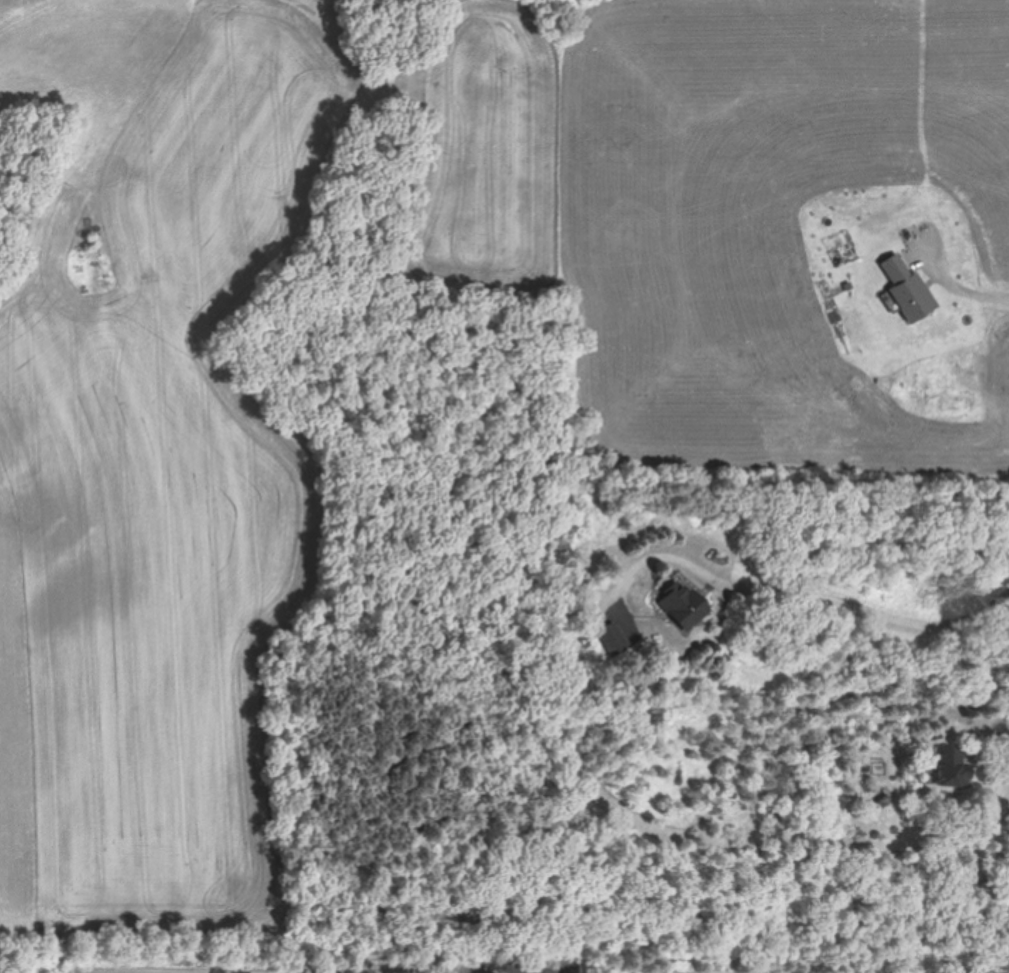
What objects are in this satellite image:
road: (971, 287)
road: (804, 597)
building: (684, 604)
building: (613, 639)
road: (999, 732)
building: (953, 766)
road: (289, 967)

